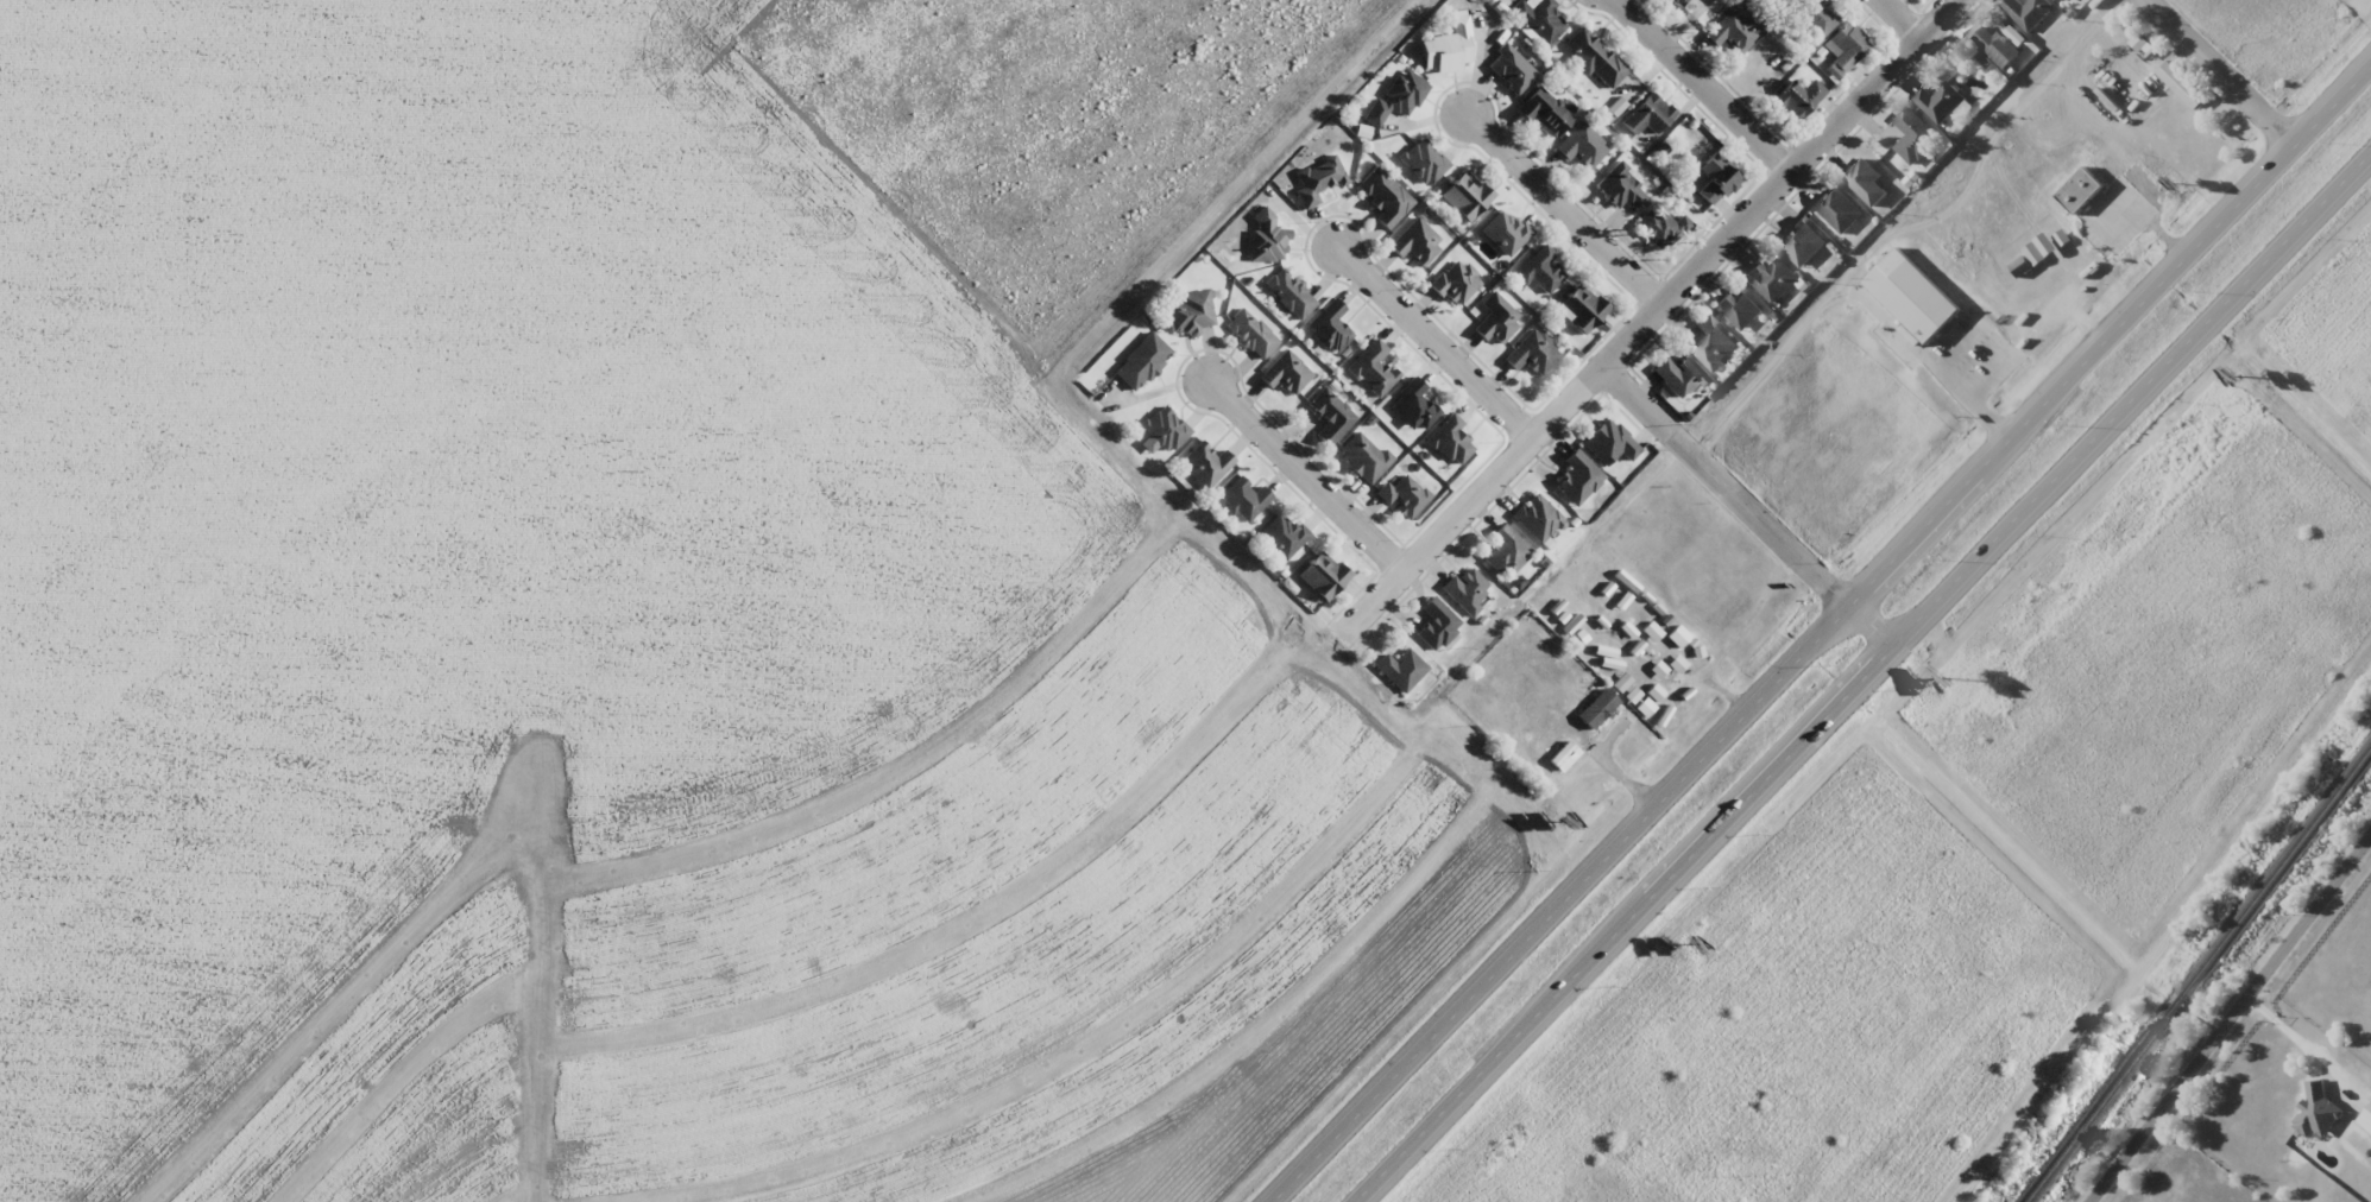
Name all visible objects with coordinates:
building: (2048, 0)
building: (1678, 2)
building: (1780, 2)
building: (2029, 12)
building: (1818, 17)
road: (1902, 19)
building: (1540, 20)
building: (1732, 31)
building: (1448, 46)
building: (1998, 46)
building: (1845, 48)
building: (1595, 58)
road: (2218, 72)
road: (1704, 86)
building: (2184, 88)
building: (1396, 99)
building: (1797, 99)
building: (1941, 102)
building: (1544, 112)
building: (1648, 115)
building: (1915, 137)
building: (1582, 146)
building: (1424, 162)
building: (1716, 179)
building: (1318, 181)
building: (1865, 181)
building: (1621, 189)
building: (2085, 194)
building: (1465, 196)
building: (1383, 197)
building: (2127, 198)
road: (1564, 208)
building: (1837, 210)
building: (1664, 228)
building: (1505, 232)
building: (1267, 238)
building: (1417, 242)
building: (1802, 242)
building: (1540, 271)
building: (1772, 279)
building: (1456, 283)
building: (1286, 290)
building: (1918, 297)
building: (1582, 308)
building: (1739, 308)
building: (1191, 311)
road: (1651, 318)
building: (1496, 320)
building: (1329, 325)
building: (1250, 334)
road: (2107, 336)
road: (1434, 340)
building: (1713, 343)
building: (1533, 353)
building: (1142, 362)
building: (1373, 367)
building: (1286, 373)
building: (1678, 375)
road: (2130, 400)
building: (1413, 406)
building: (1330, 416)
building: (1165, 429)
building: (1450, 441)
building: (1609, 443)
building: (1363, 456)
building: (1205, 464)
road: (1303, 475)
building: (1577, 480)
building: (1404, 495)
building: (1244, 499)
road: (1745, 508)
building: (1537, 518)
building: (1281, 534)
building: (1506, 552)
building: (1323, 576)
building: (1467, 590)
crop: (655, 618)
building: (1437, 624)
building: (1678, 635)
building: (1401, 669)
building: (1637, 678)
building: (1670, 682)
building: (1597, 708)
road: (1558, 905)
road: (1620, 924)
railway: (2196, 975)
road: (2230, 1017)

